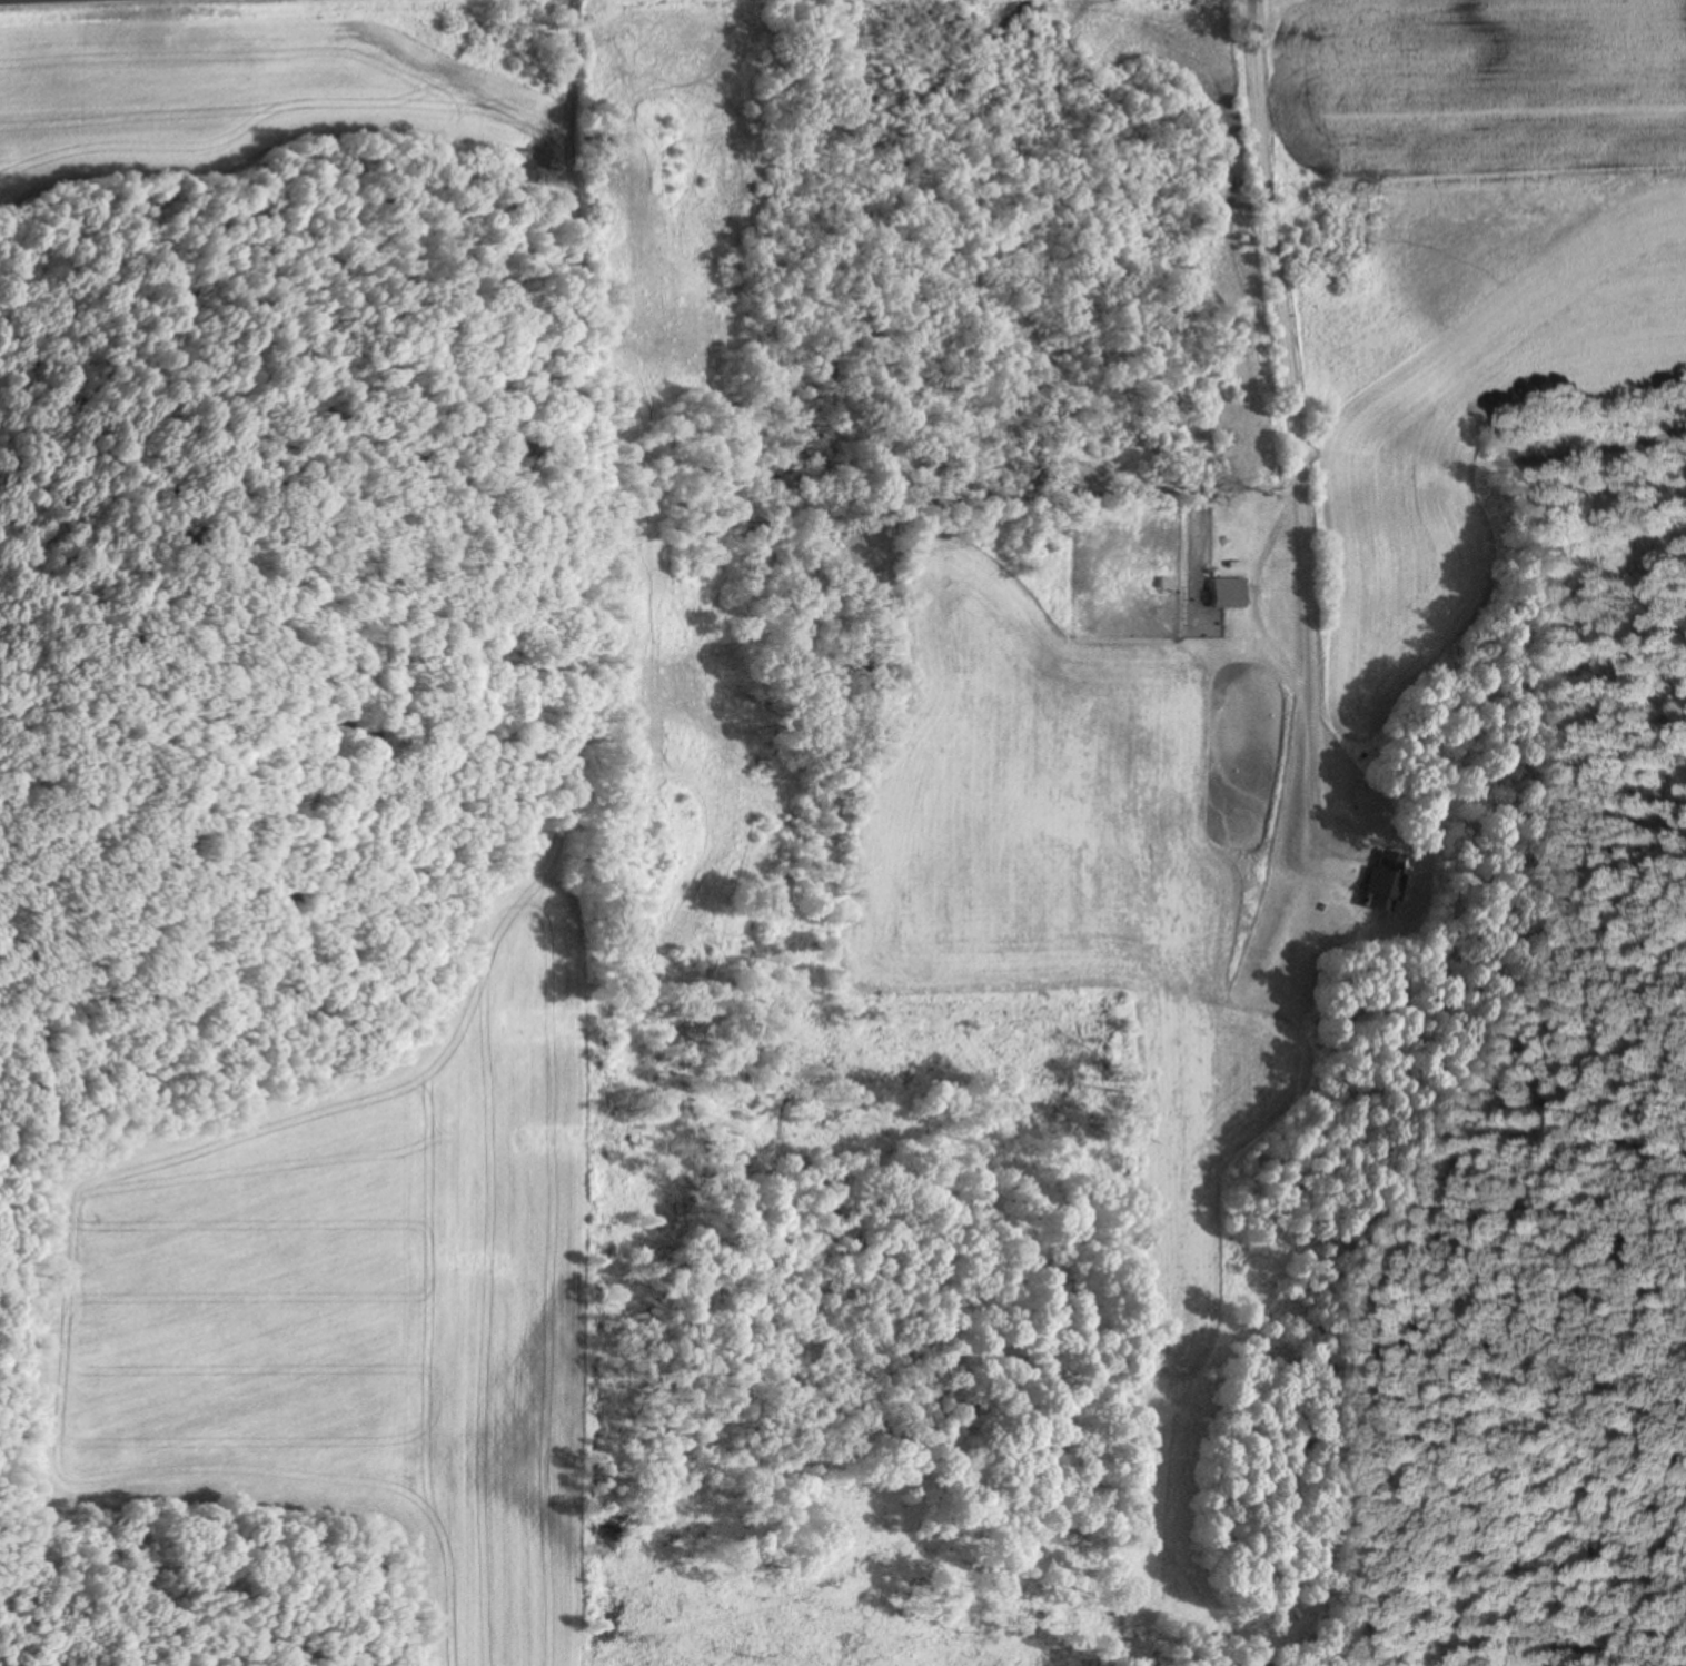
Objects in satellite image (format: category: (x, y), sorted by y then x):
crop: (236, 85)
crop: (1451, 286)
road: (1291, 420)
building: (1228, 592)
crop: (1092, 871)
building: (1381, 881)
crop: (364, 1303)

